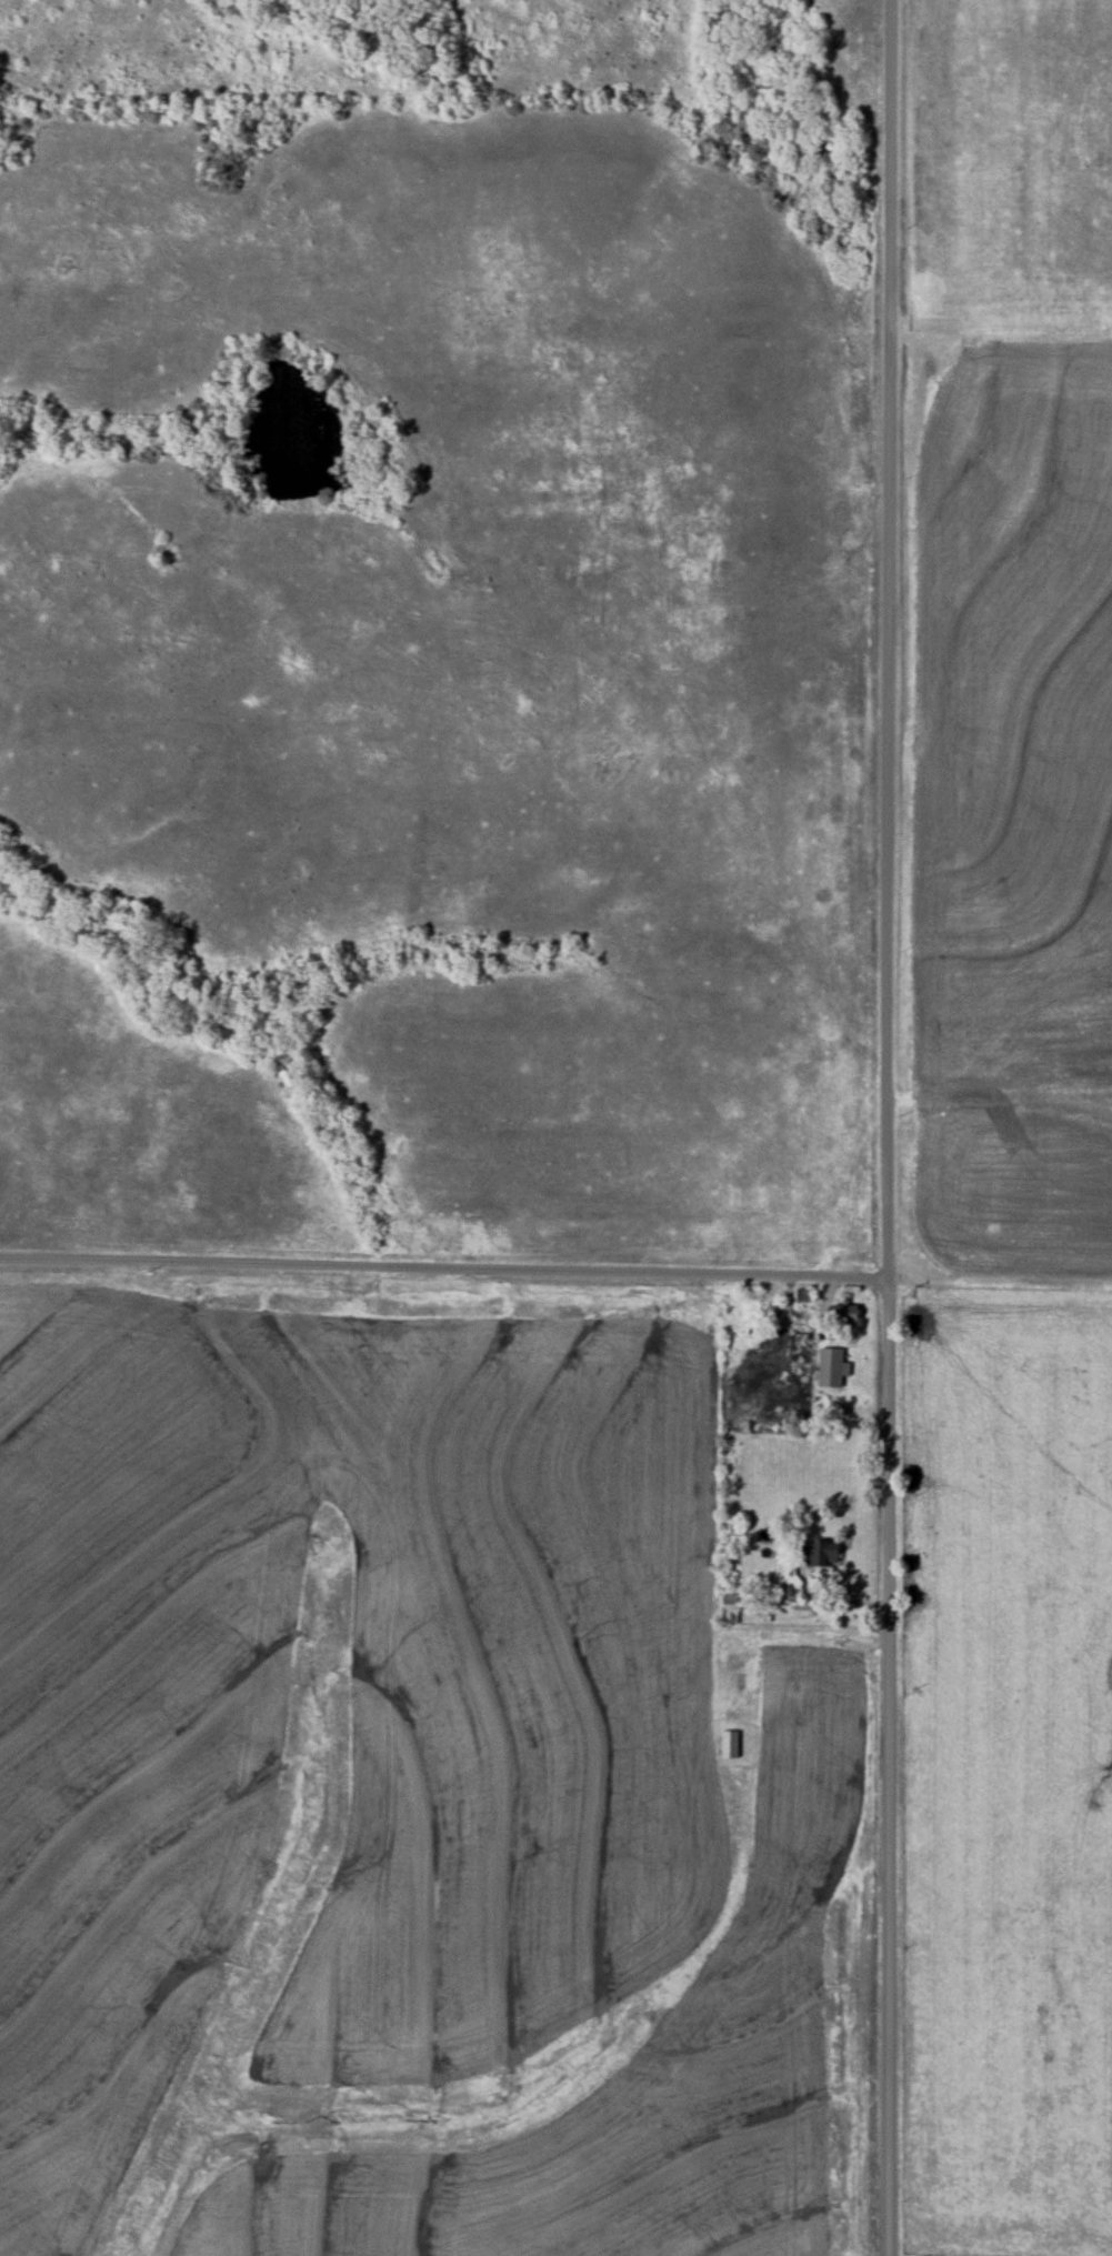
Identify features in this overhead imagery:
road: (891, 1127)
road: (445, 1266)
building: (846, 1316)
building: (823, 1554)
building: (730, 1608)
road: (828, 1627)
building: (730, 1745)

